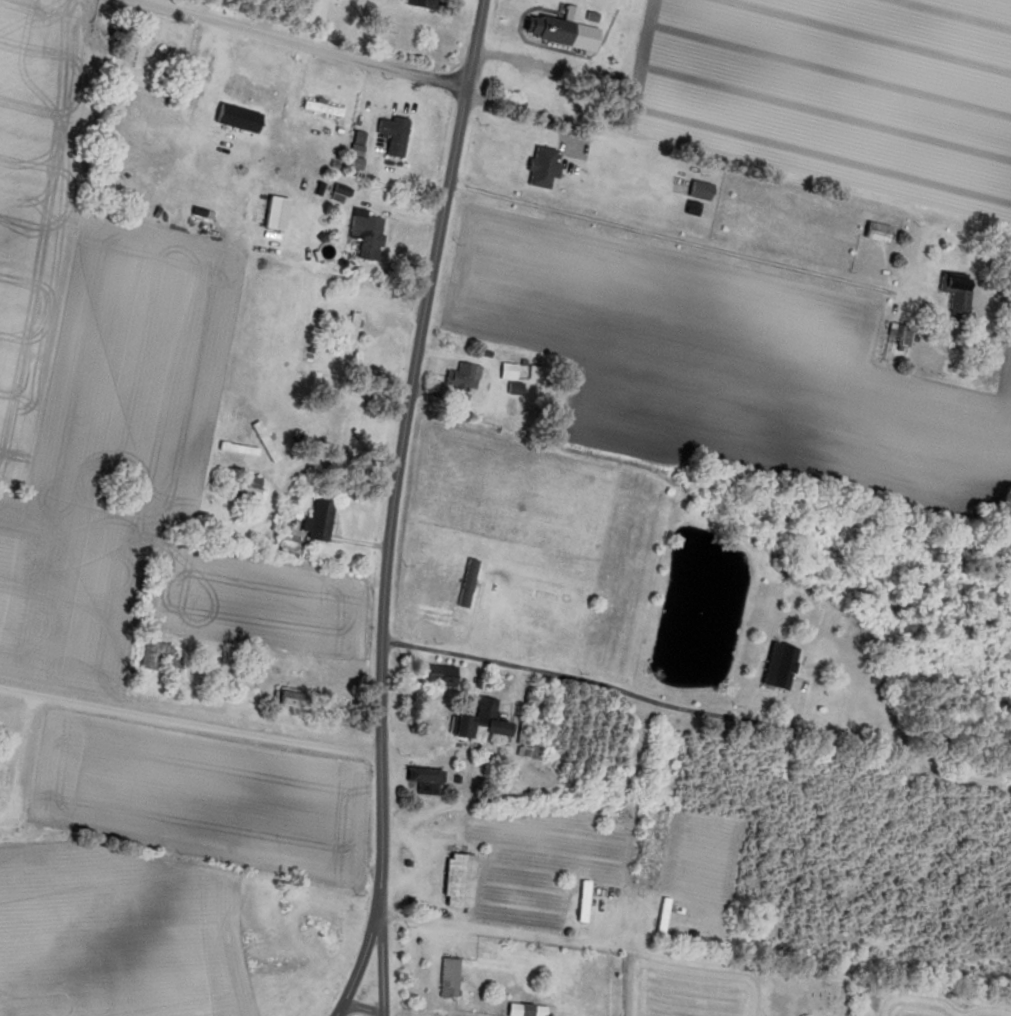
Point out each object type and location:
building: (415, 4)
building: (557, 30)
road: (296, 45)
building: (247, 92)
building: (319, 109)
road: (517, 110)
building: (390, 135)
building: (537, 169)
building: (696, 190)
building: (336, 193)
building: (272, 213)
building: (874, 231)
building: (363, 235)
road: (670, 240)
building: (953, 293)
building: (348, 333)
building: (505, 370)
building: (460, 381)
building: (513, 388)
building: (331, 423)
building: (249, 486)
road: (394, 508)
building: (315, 521)
building: (464, 583)
building: (156, 659)
building: (798, 673)
building: (437, 675)
road: (638, 695)
building: (285, 698)
road: (190, 722)
building: (476, 724)
building: (529, 742)
building: (424, 779)
building: (653, 807)
road: (191, 840)
building: (639, 854)
building: (455, 881)
building: (580, 902)
building: (659, 916)
road: (516, 933)
road: (380, 963)
building: (280, 968)
building: (446, 978)
building: (522, 1010)

